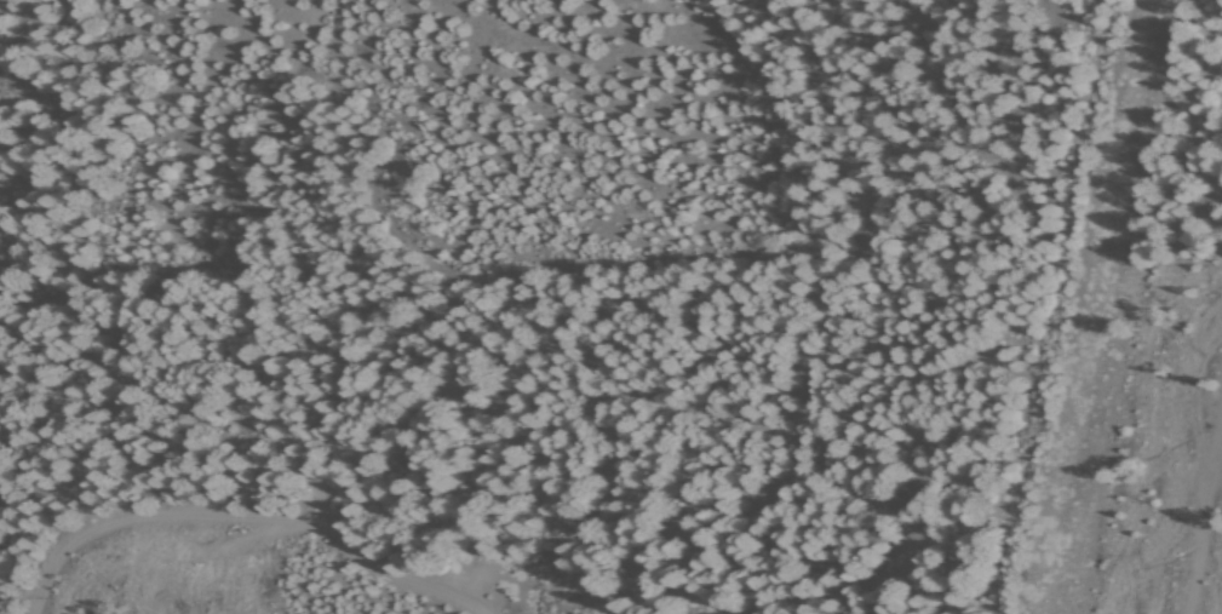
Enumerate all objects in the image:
road: (1055, 305)
road: (259, 427)

